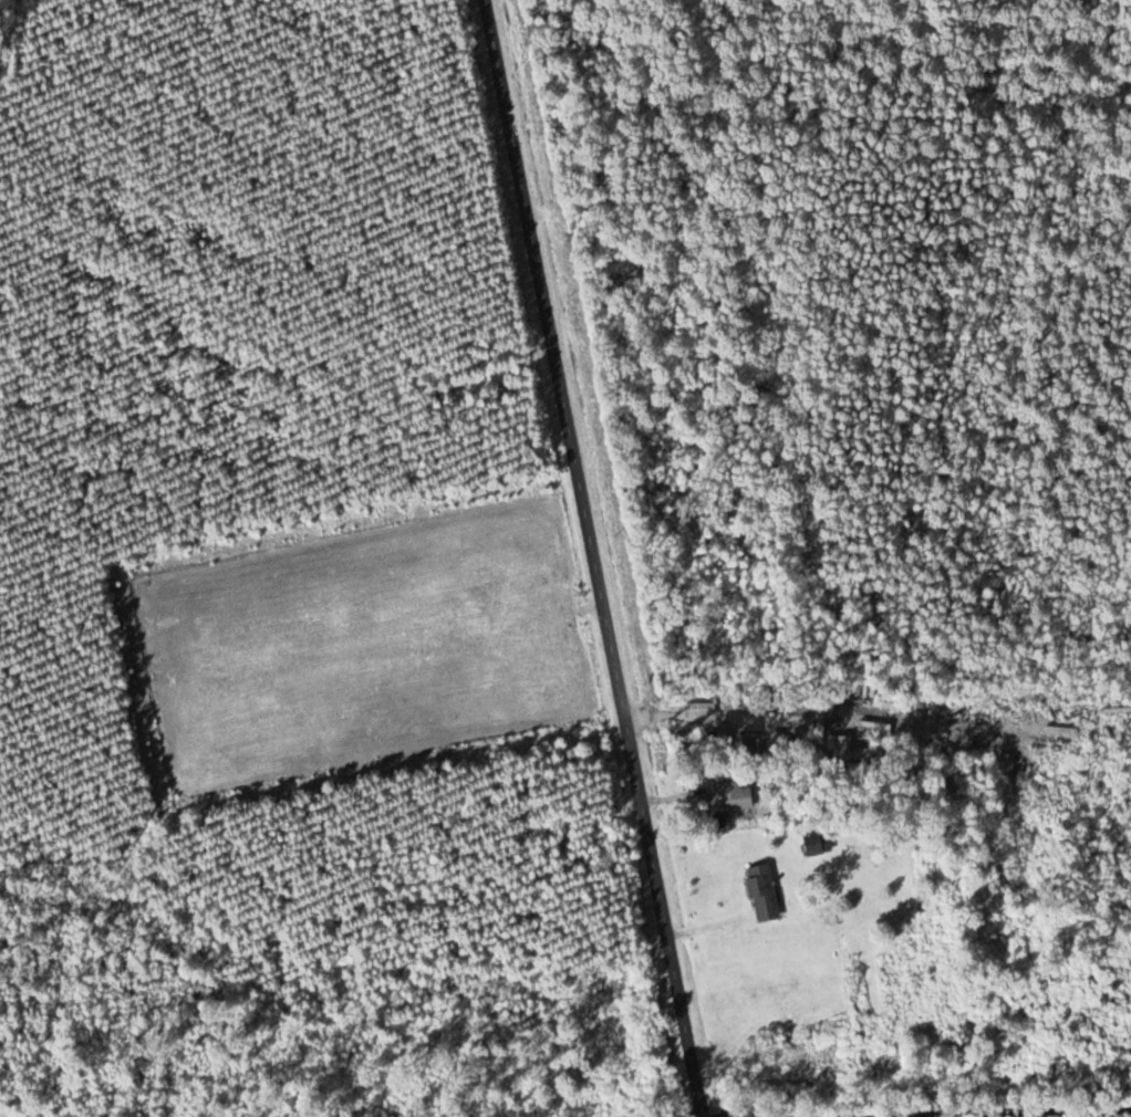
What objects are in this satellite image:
road: (599, 557)
building: (950, 789)
building: (735, 796)
building: (762, 892)

